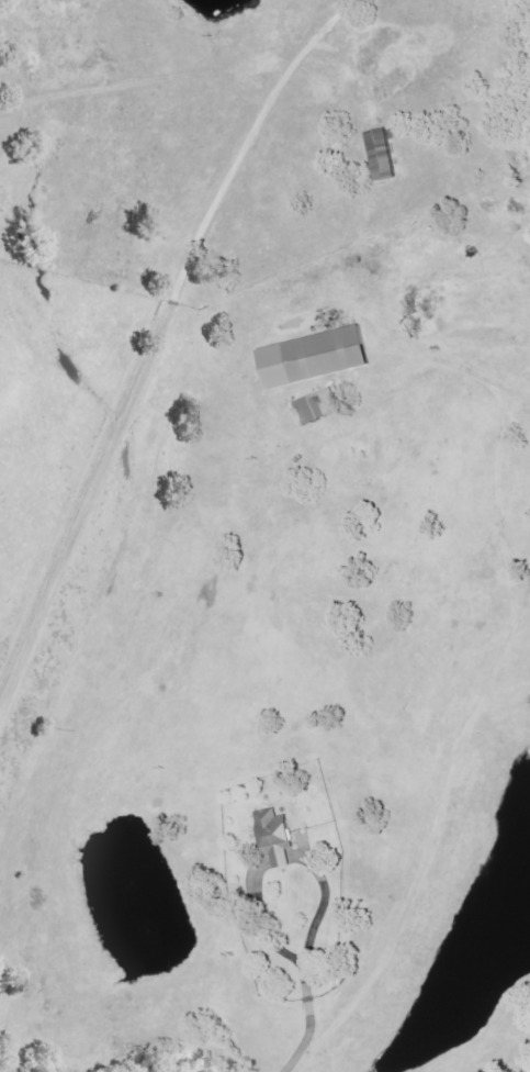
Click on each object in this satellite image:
building: (381, 155)
building: (313, 357)
building: (274, 837)

